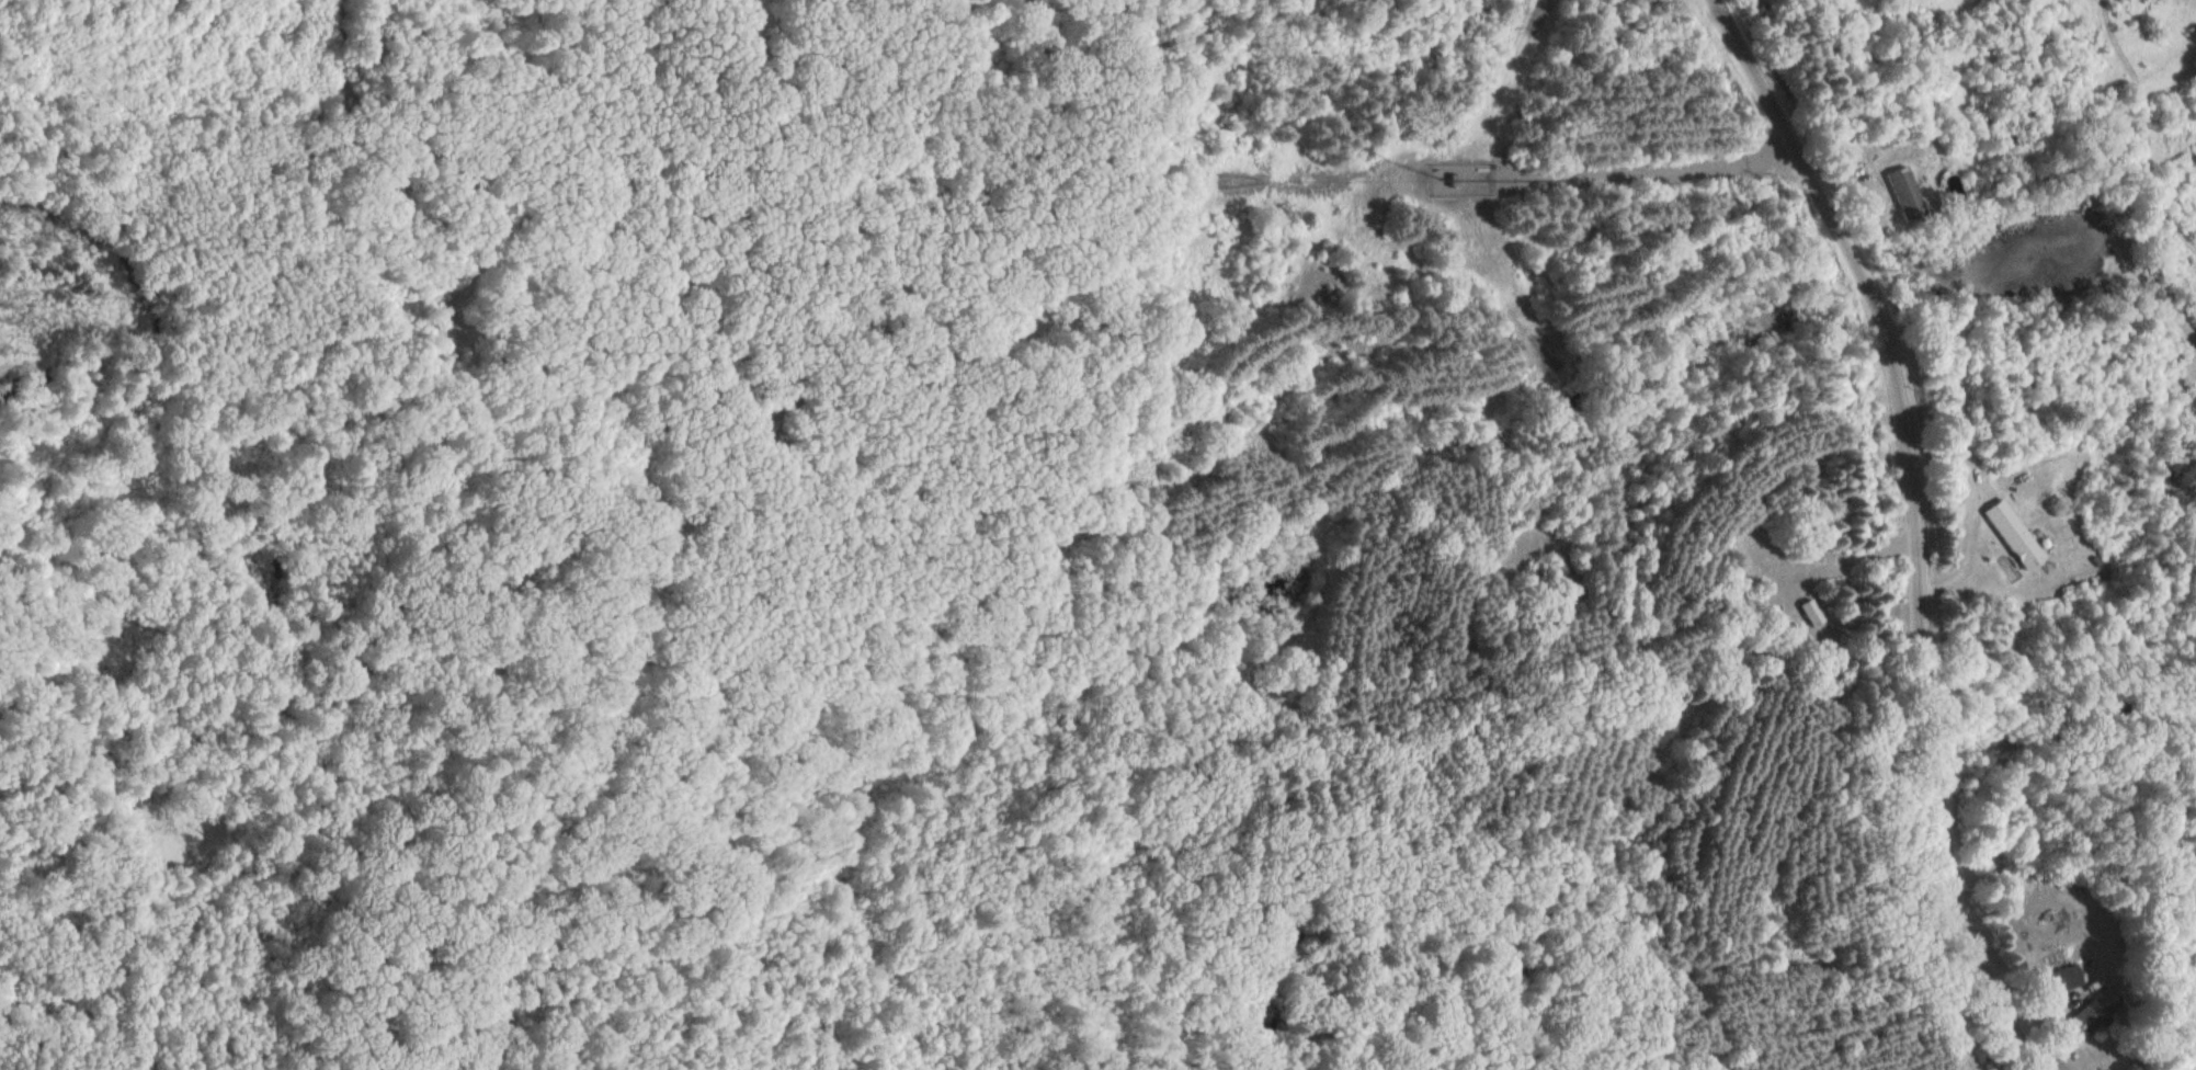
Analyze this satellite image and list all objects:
building: (1900, 195)
road: (1922, 526)
building: (2007, 536)
building: (2067, 978)
road: (1957, 1011)

